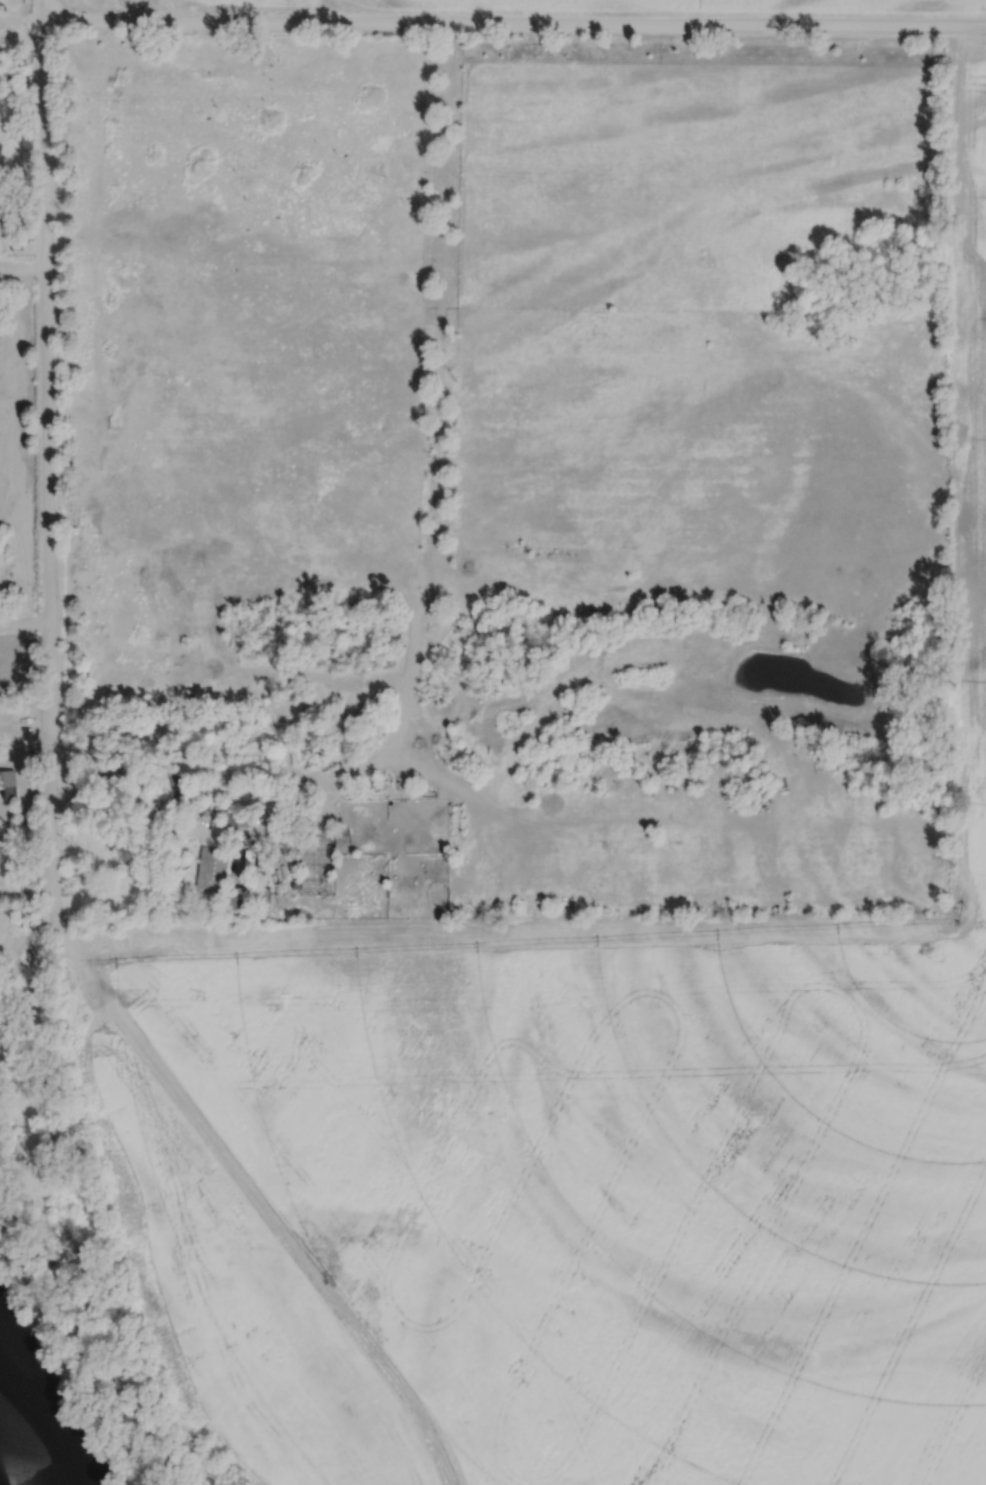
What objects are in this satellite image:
road: (512, 26)
building: (2, 203)
road: (22, 266)
road: (22, 319)
road: (47, 458)
building: (362, 734)
building: (333, 741)
building: (251, 752)
building: (120, 766)
building: (224, 774)
building: (8, 786)
building: (178, 790)
road: (27, 813)
building: (234, 819)
road: (162, 826)
building: (212, 869)
building: (237, 898)

